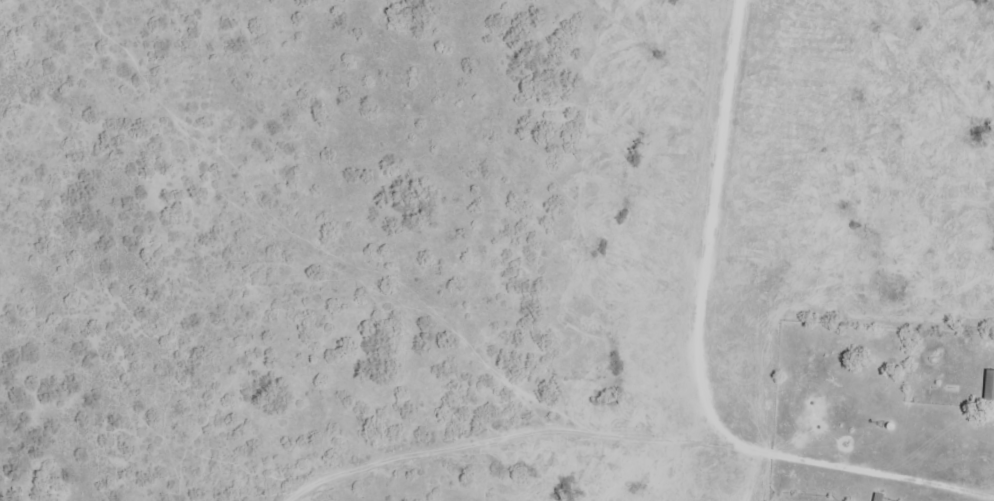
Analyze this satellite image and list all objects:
road: (711, 264)
building: (990, 385)
road: (876, 473)

